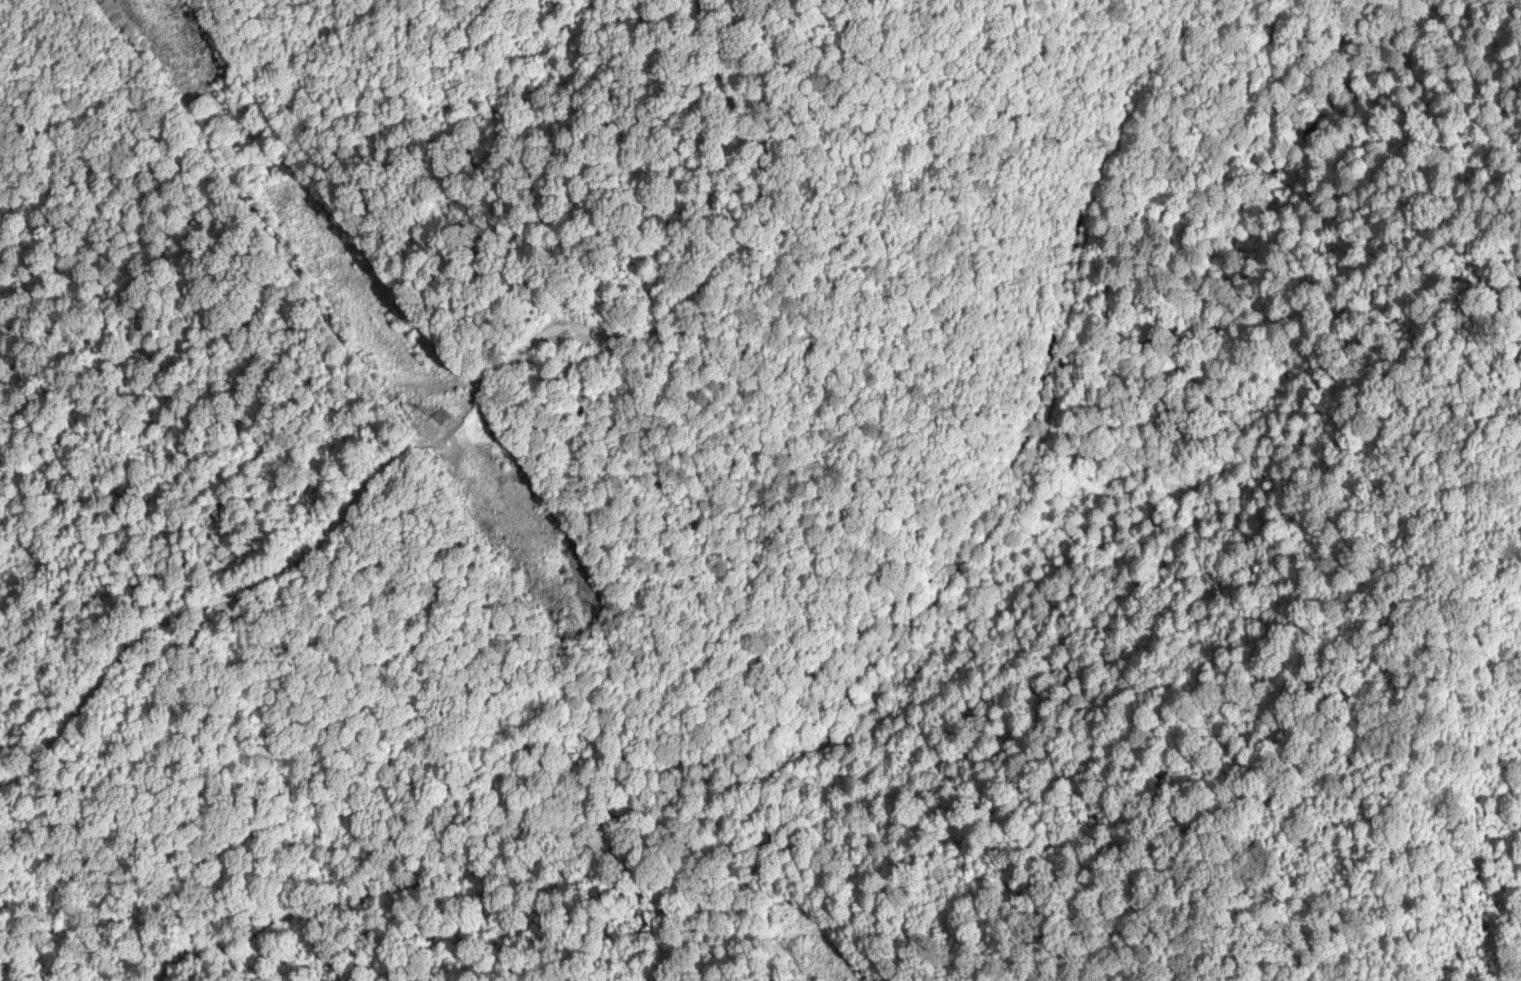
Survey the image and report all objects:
road: (1008, 506)

